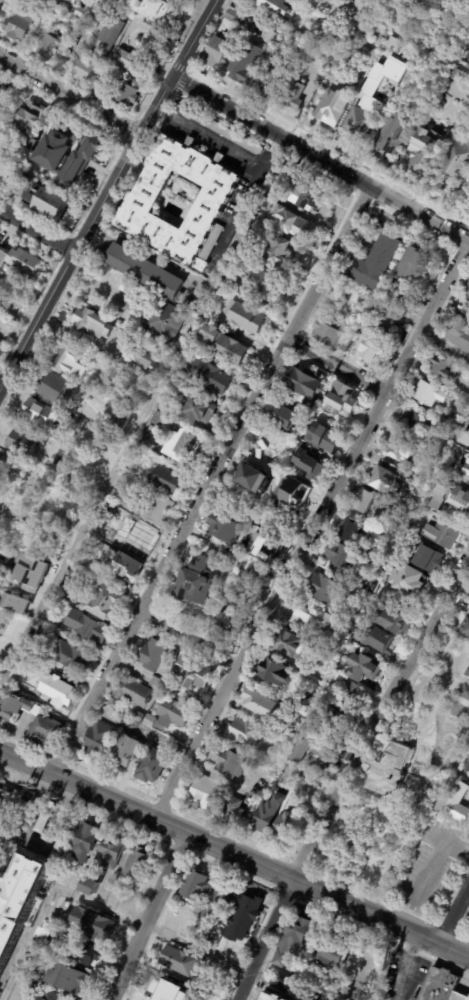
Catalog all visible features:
road: (0, 0)
building: (64, 0)
building: (71, 1)
building: (273, 6)
building: (43, 9)
building: (86, 10)
building: (147, 10)
building: (232, 16)
building: (16, 26)
building: (385, 28)
building: (75, 36)
building: (108, 36)
road: (412, 36)
building: (270, 37)
building: (293, 40)
road: (306, 43)
building: (49, 46)
building: (216, 50)
building: (313, 51)
building: (123, 58)
building: (245, 63)
road: (177, 66)
building: (82, 67)
building: (335, 67)
building: (440, 72)
building: (453, 73)
building: (109, 75)
building: (272, 79)
building: (368, 82)
road: (70, 92)
building: (292, 92)
building: (126, 94)
building: (5, 95)
building: (332, 108)
building: (30, 114)
building: (363, 121)
building: (219, 129)
building: (393, 134)
building: (31, 143)
road: (222, 145)
building: (52, 150)
building: (423, 152)
building: (21, 159)
building: (456, 160)
building: (79, 161)
road: (319, 161)
building: (4, 163)
road: (120, 170)
building: (268, 183)
building: (21, 188)
building: (315, 195)
building: (44, 200)
building: (270, 202)
building: (141, 204)
road: (240, 212)
building: (293, 223)
road: (38, 229)
building: (233, 248)
road: (144, 251)
building: (277, 254)
building: (3, 258)
building: (25, 261)
building: (375, 261)
building: (416, 263)
building: (144, 271)
building: (216, 278)
building: (263, 281)
road: (97, 285)
building: (392, 285)
building: (236, 286)
building: (467, 288)
parking lot: (116, 290)
building: (379, 300)
building: (468, 301)
building: (246, 317)
building: (387, 320)
building: (164, 321)
building: (92, 324)
building: (364, 330)
building: (327, 334)
building: (459, 336)
building: (125, 343)
building: (225, 345)
building: (371, 347)
building: (179, 353)
building: (145, 357)
building: (69, 362)
road: (13, 365)
road: (335, 366)
building: (441, 368)
building: (209, 376)
building: (93, 382)
building: (304, 382)
building: (51, 387)
building: (430, 394)
building: (340, 399)
building: (309, 403)
building: (165, 404)
building: (198, 408)
building: (40, 413)
building: (282, 415)
building: (120, 418)
building: (160, 419)
building: (410, 420)
building: (451, 421)
building: (106, 439)
building: (323, 439)
building: (24, 443)
building: (183, 446)
building: (399, 447)
building: (306, 462)
building: (55, 465)
building: (466, 469)
building: (276, 470)
building: (252, 478)
building: (465, 478)
building: (165, 479)
building: (390, 479)
building: (11, 481)
road: (208, 481)
building: (289, 491)
building: (451, 495)
building: (120, 499)
building: (365, 501)
building: (6, 507)
building: (157, 509)
building: (106, 512)
road: (86, 517)
building: (67, 520)
building: (225, 528)
building: (349, 530)
road: (308, 531)
building: (442, 533)
building: (141, 537)
building: (380, 537)
building: (264, 549)
building: (338, 556)
building: (232, 559)
building: (428, 559)
building: (122, 565)
building: (30, 572)
building: (100, 572)
building: (257, 572)
building: (409, 581)
building: (198, 583)
building: (75, 584)
building: (325, 590)
building: (383, 597)
building: (243, 599)
building: (14, 601)
building: (104, 602)
building: (312, 618)
building: (393, 620)
building: (21, 622)
building: (227, 623)
building: (11, 624)
building: (88, 627)
building: (466, 630)
road: (187, 638)
building: (378, 640)
building: (286, 643)
building: (153, 656)
building: (69, 657)
building: (362, 668)
building: (274, 672)
building: (193, 673)
building: (467, 673)
building: (320, 680)
building: (157, 684)
building: (57, 691)
building: (133, 692)
building: (464, 692)
building: (350, 693)
building: (306, 698)
building: (258, 704)
building: (15, 708)
building: (173, 714)
building: (138, 716)
road: (377, 716)
building: (336, 725)
building: (44, 732)
building: (242, 733)
building: (98, 739)
building: (307, 747)
building: (125, 751)
building: (227, 763)
building: (152, 766)
building: (467, 766)
building: (390, 769)
building: (203, 792)
building: (4, 794)
building: (222, 798)
building: (454, 798)
building: (233, 809)
building: (267, 816)
building: (41, 827)
building: (283, 827)
building: (84, 843)
road: (234, 856)
building: (106, 860)
building: (137, 864)
road: (234, 873)
road: (150, 883)
road: (421, 884)
building: (195, 886)
building: (19, 898)
road: (93, 903)
building: (217, 903)
building: (60, 904)
building: (246, 913)
road: (452, 914)
road: (145, 916)
building: (91, 924)
road: (263, 940)
building: (292, 940)
building: (67, 946)
building: (330, 956)
building: (179, 962)
road: (404, 967)
building: (65, 979)
building: (438, 985)
building: (171, 989)
building: (51, 996)
building: (266, 996)
building: (458, 996)
building: (143, 999)

